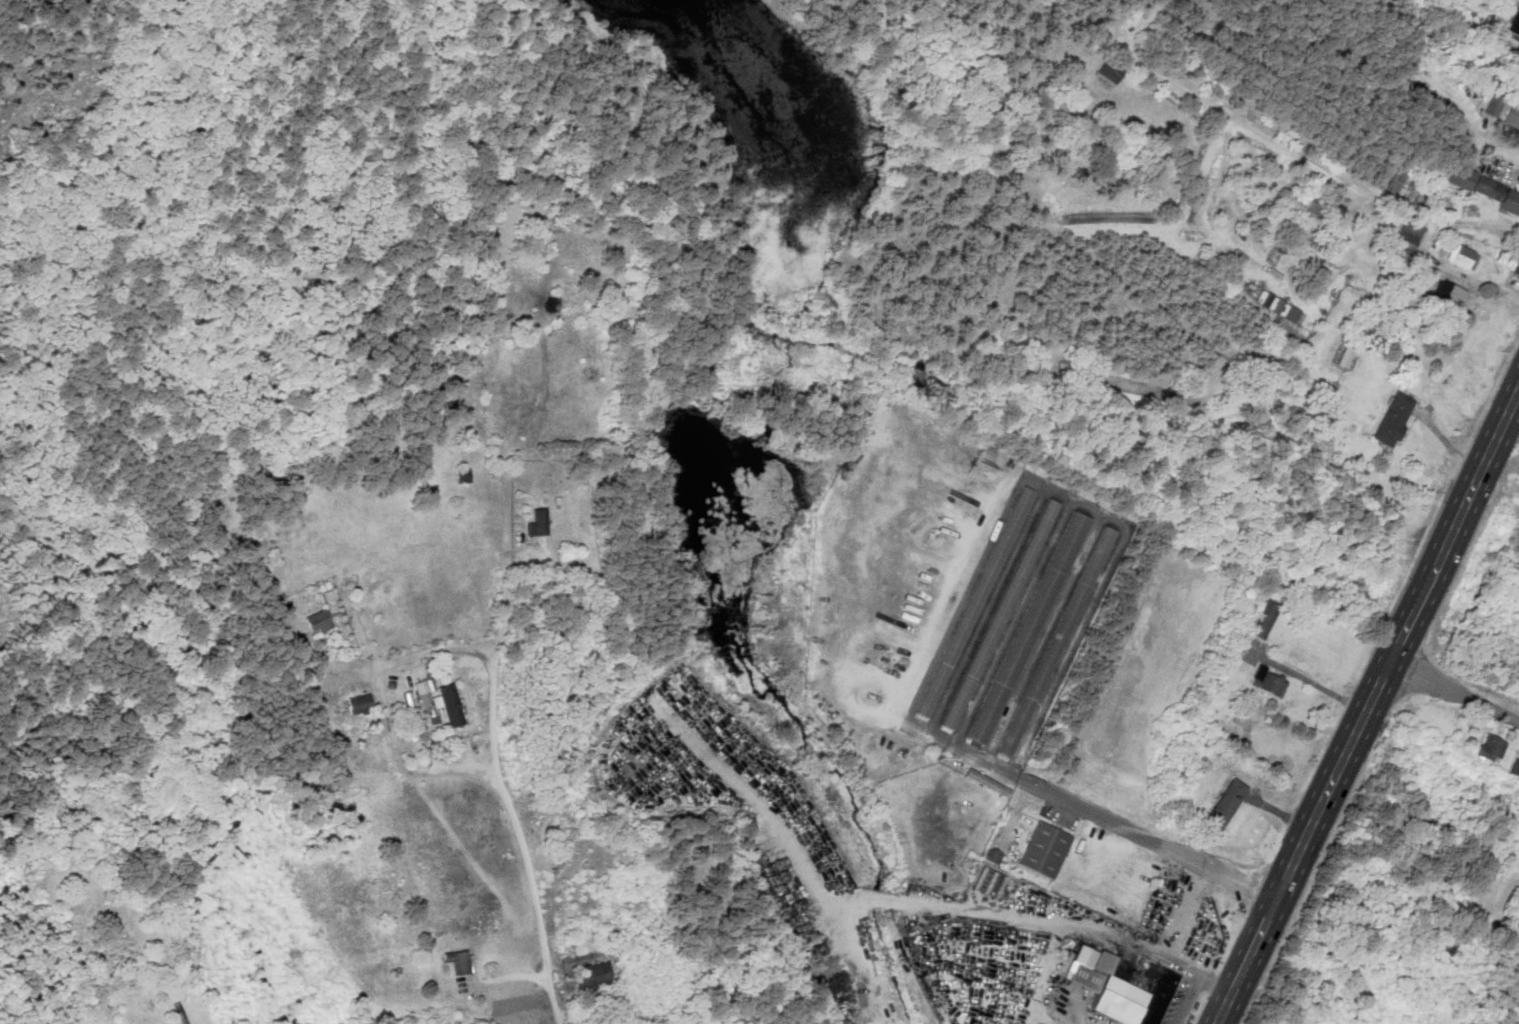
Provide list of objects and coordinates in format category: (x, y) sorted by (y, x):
building: (1515, 23)
building: (1109, 71)
building: (1492, 106)
building: (1512, 117)
building: (1463, 177)
building: (1489, 187)
building: (1510, 202)
building: (1310, 206)
building: (1408, 234)
building: (1463, 257)
building: (1517, 269)
building: (1448, 292)
building: (1278, 305)
building: (1345, 356)
dam: (704, 410)
building: (1392, 418)
road: (1512, 422)
dam: (782, 450)
building: (462, 475)
building: (538, 523)
building: (1040, 528)
building: (1070, 540)
building: (1263, 619)
building: (318, 620)
building: (304, 648)
building: (1268, 682)
road: (1455, 691)
building: (423, 692)
building: (962, 694)
road: (382, 695)
building: (360, 704)
building: (449, 704)
road: (1369, 707)
building: (985, 718)
road: (494, 725)
building: (1490, 747)
building: (1514, 767)
building: (986, 781)
building: (1226, 801)
building: (1044, 849)
building: (992, 855)
building: (989, 882)
building: (458, 961)
building: (593, 974)
building: (1122, 990)

